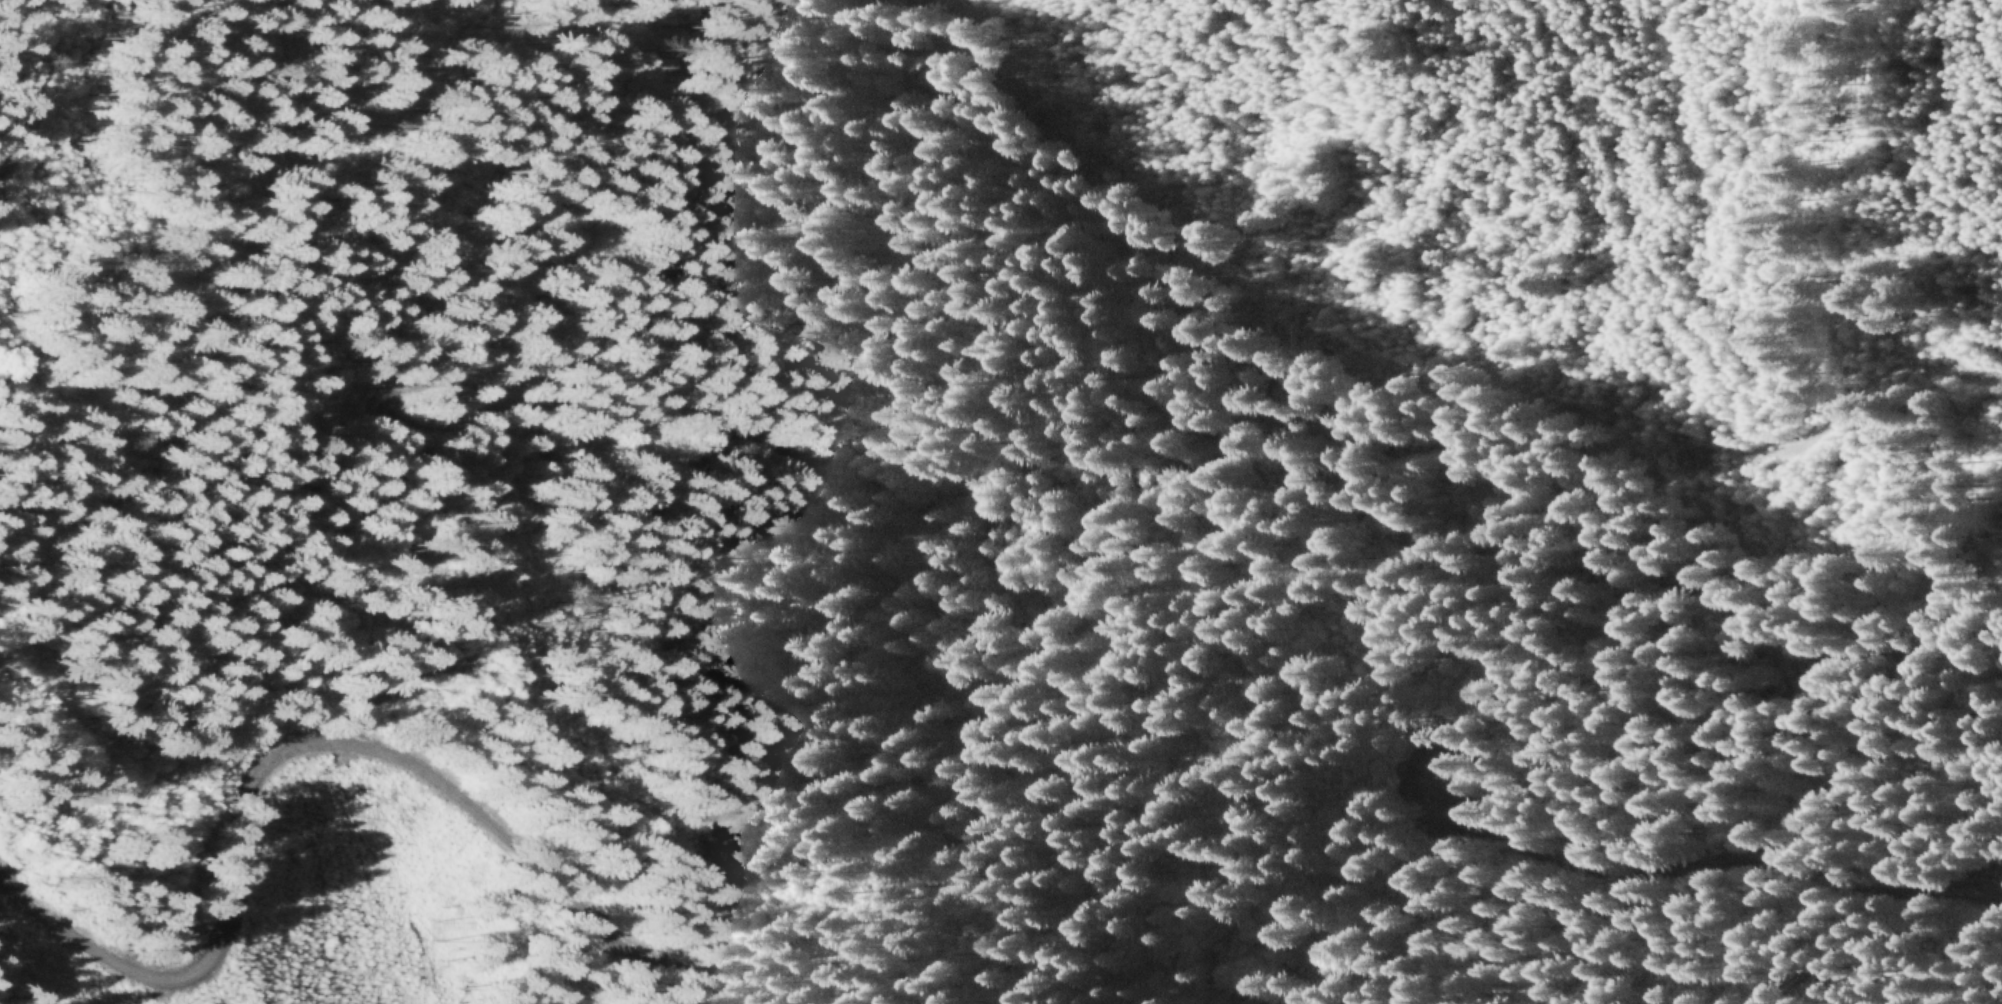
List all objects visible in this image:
road: (36, 83)
road: (1847, 411)
road: (390, 677)
road: (311, 736)
road: (1716, 856)
road: (2, 884)

